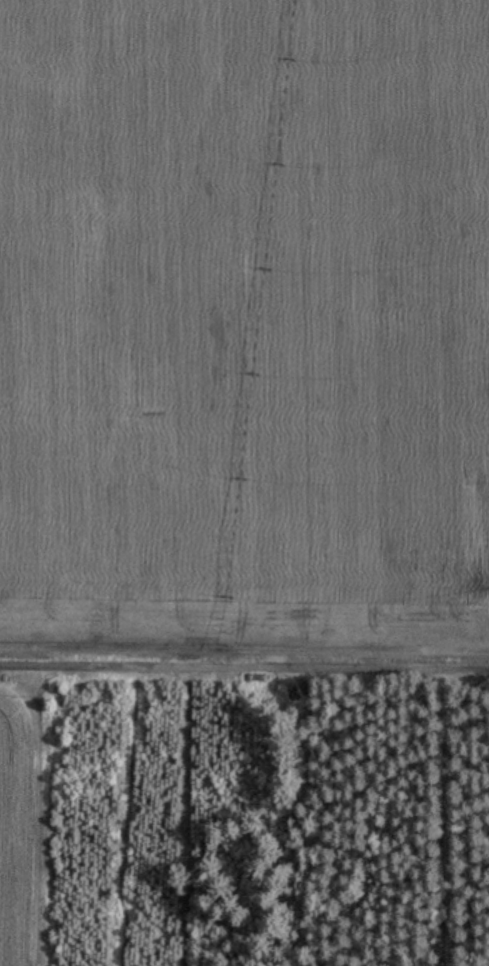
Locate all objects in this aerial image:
road: (184, 832)

